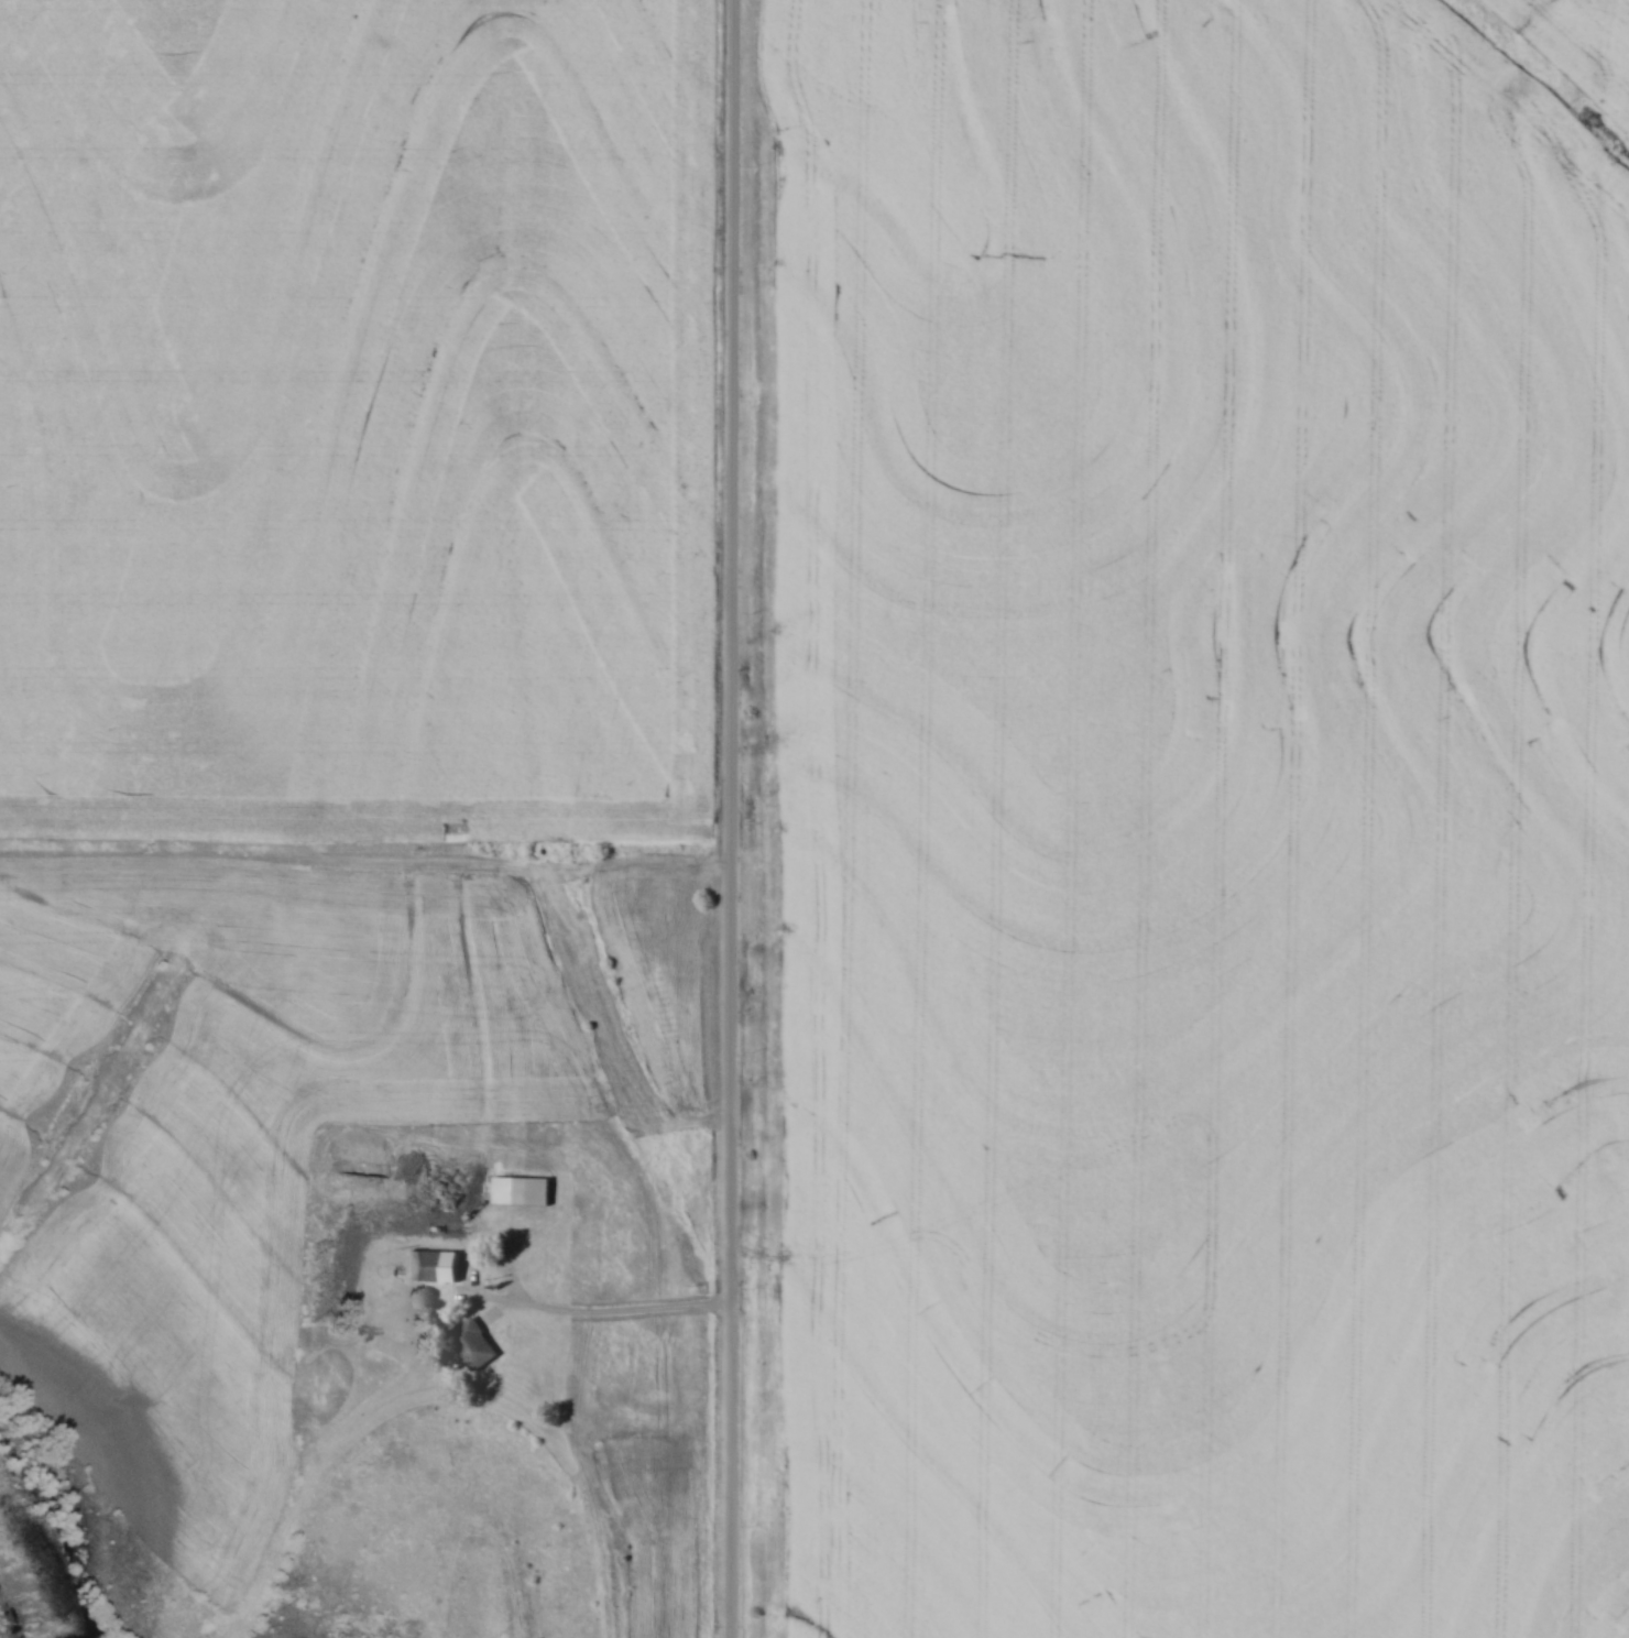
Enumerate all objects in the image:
road: (737, 819)
building: (522, 1190)
building: (434, 1265)
road: (621, 1311)
building: (473, 1343)
dam: (444, 1590)

